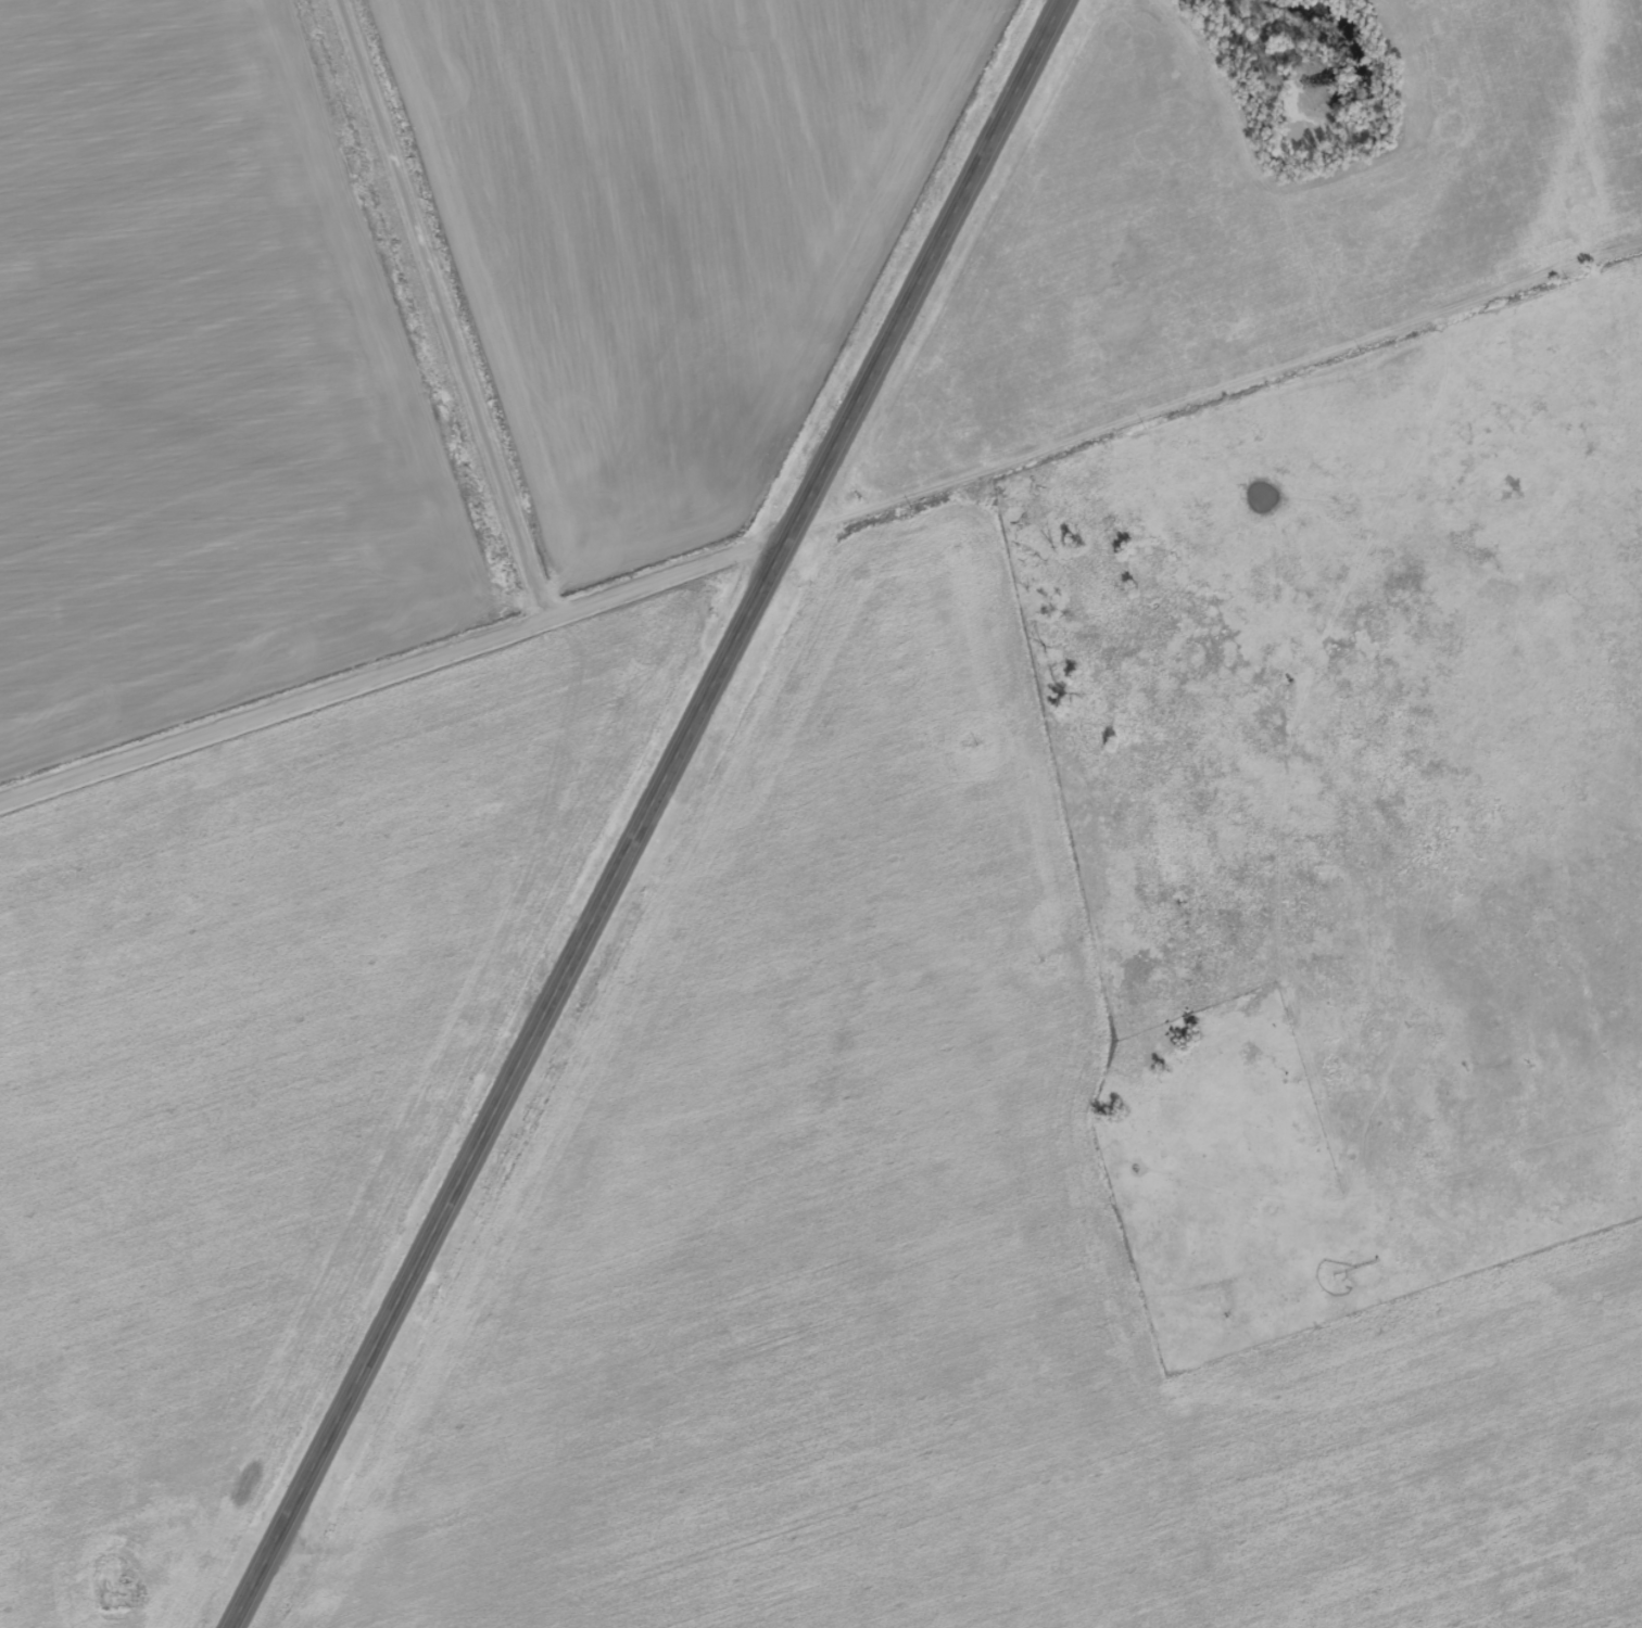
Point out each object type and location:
road: (445, 307)
road: (822, 523)
road: (645, 813)
road: (901, 1335)

